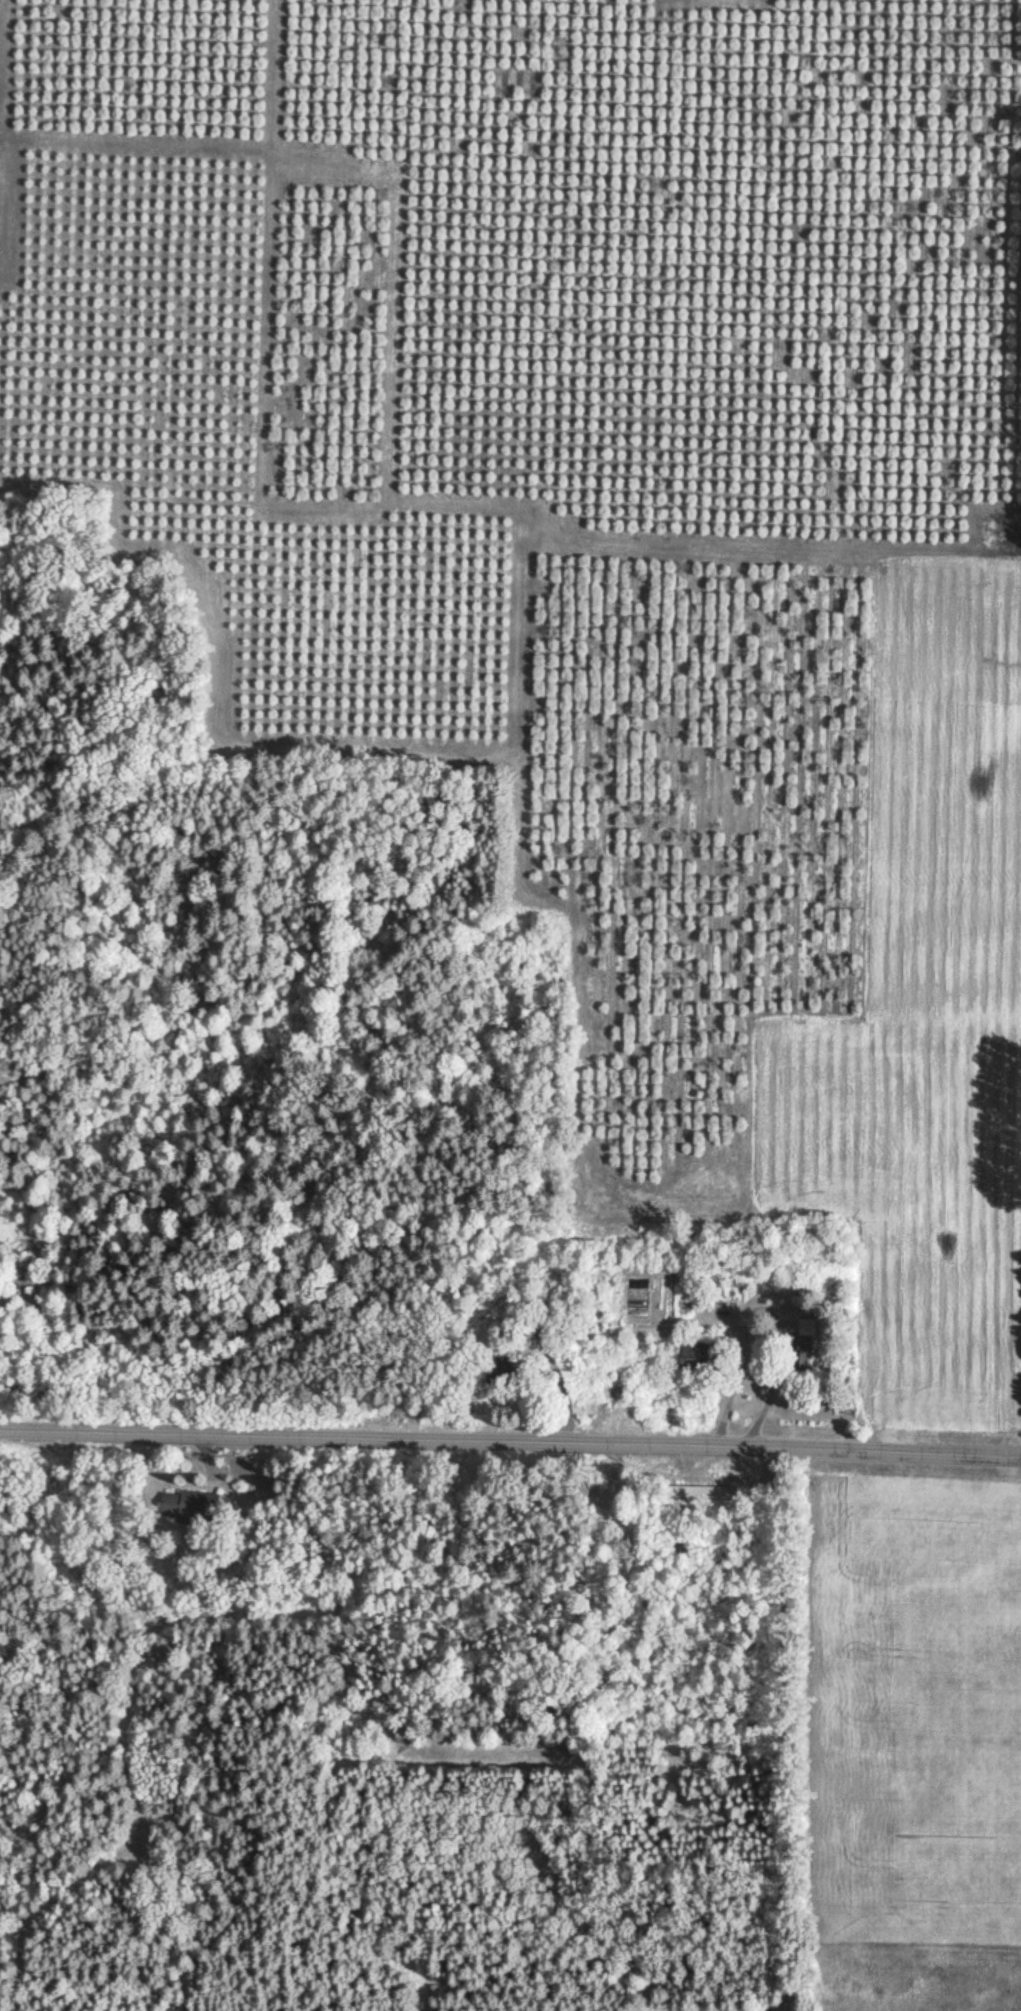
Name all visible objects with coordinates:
building: (797, 1358)
building: (685, 1359)
road: (510, 1443)
building: (703, 1499)
building: (606, 1504)
building: (187, 1505)

